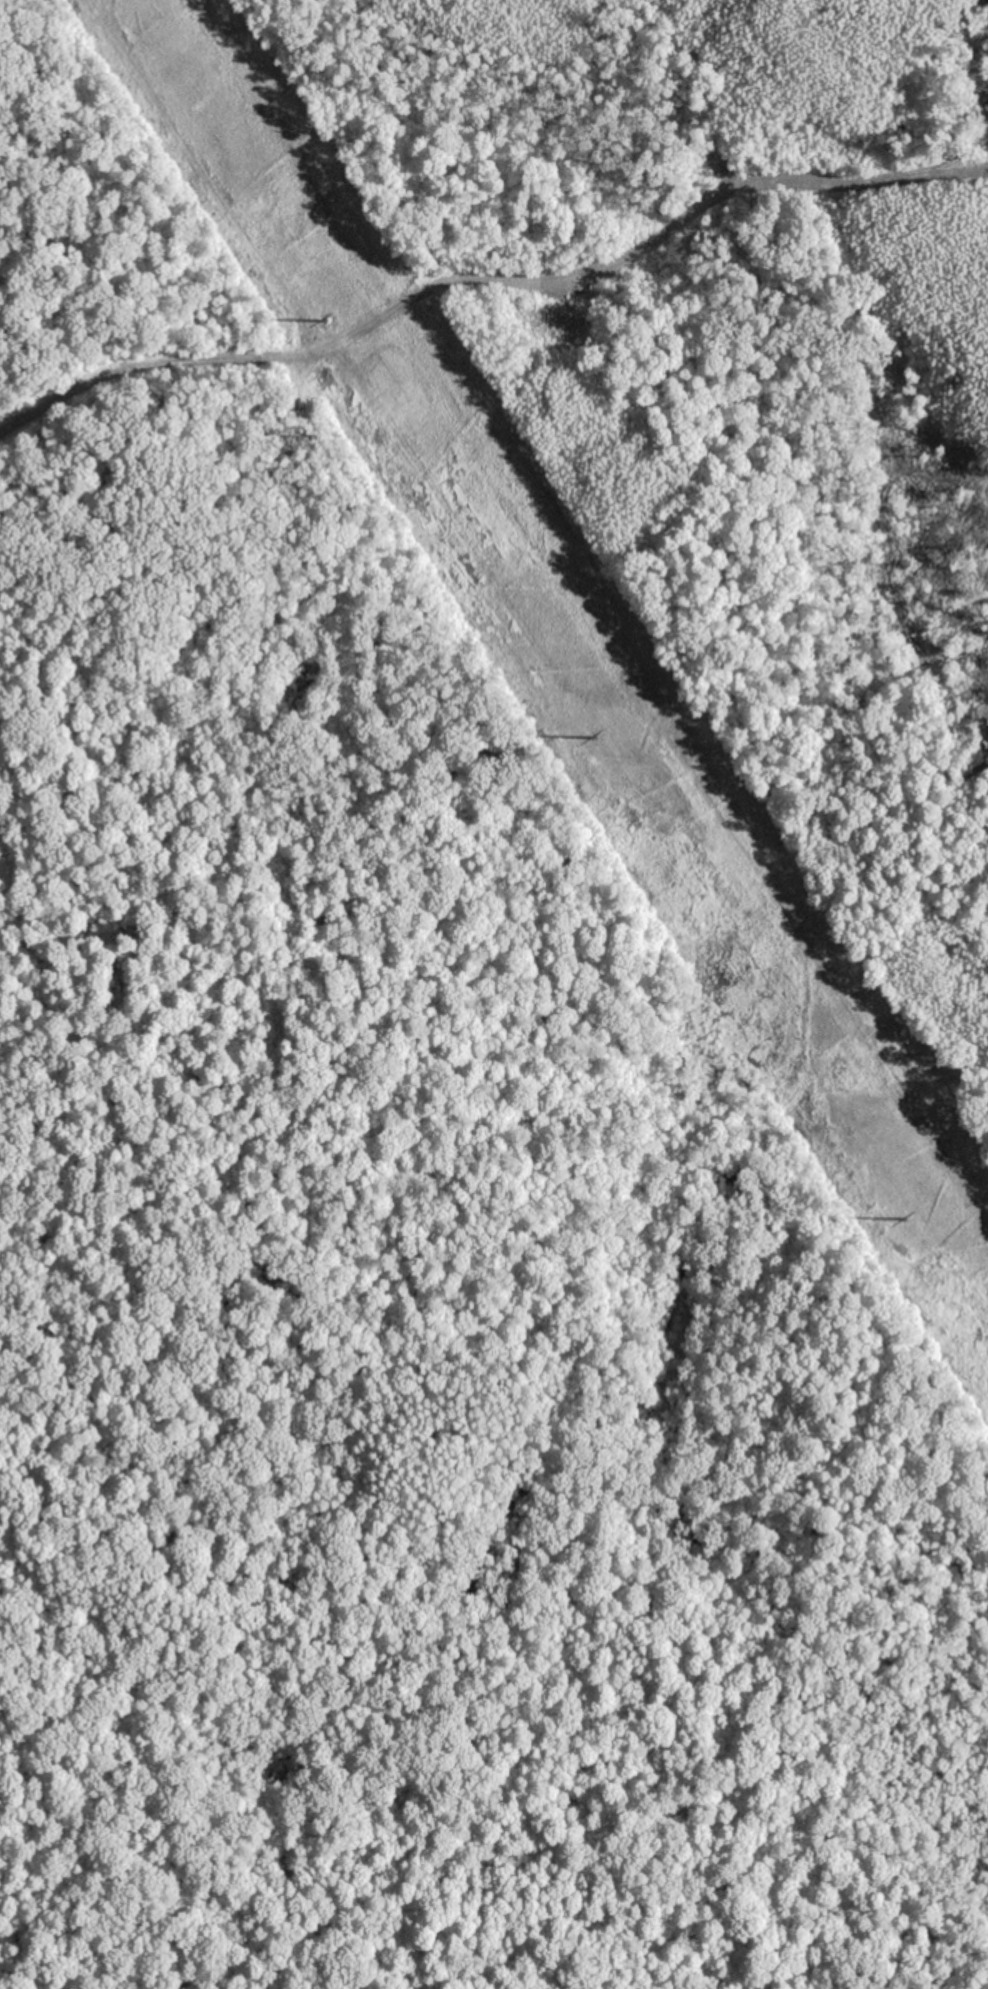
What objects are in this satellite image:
power tower: (328, 317)
power tower: (598, 734)
power tower: (907, 1217)

